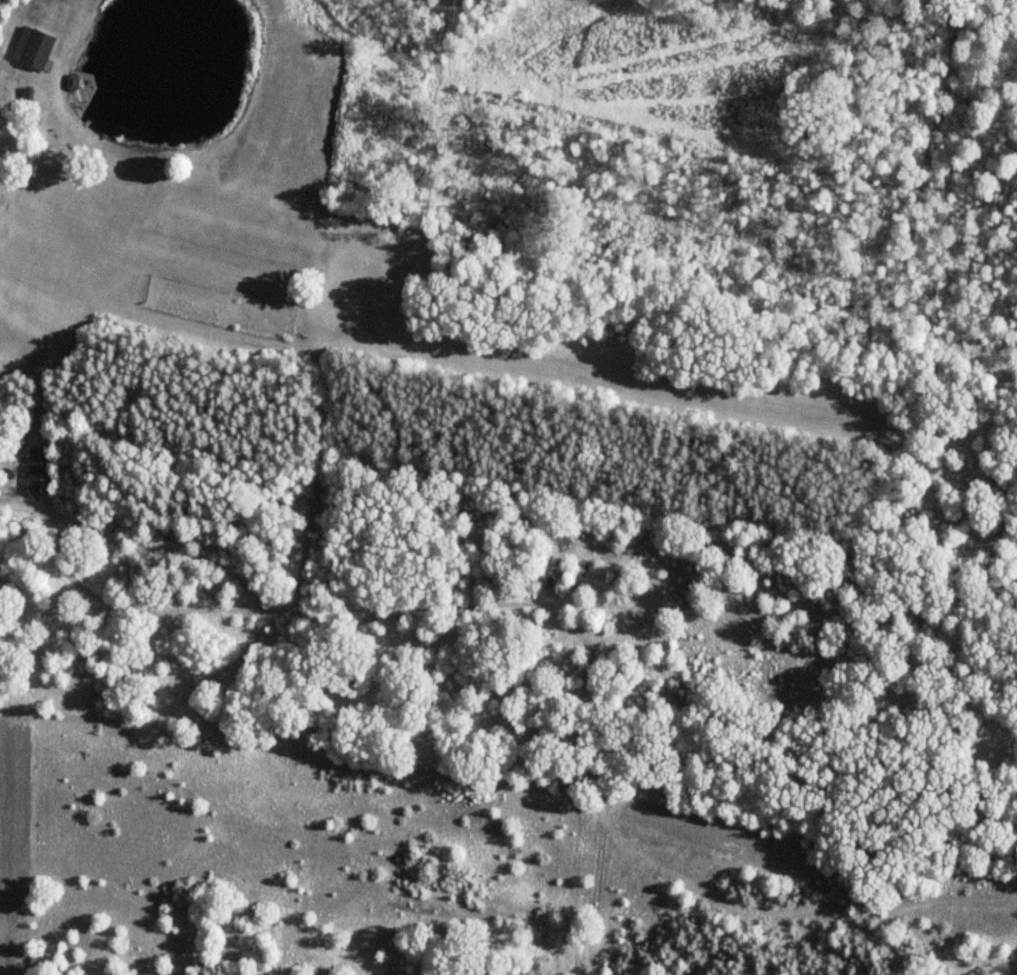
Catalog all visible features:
building: (29, 95)
building: (43, 470)

